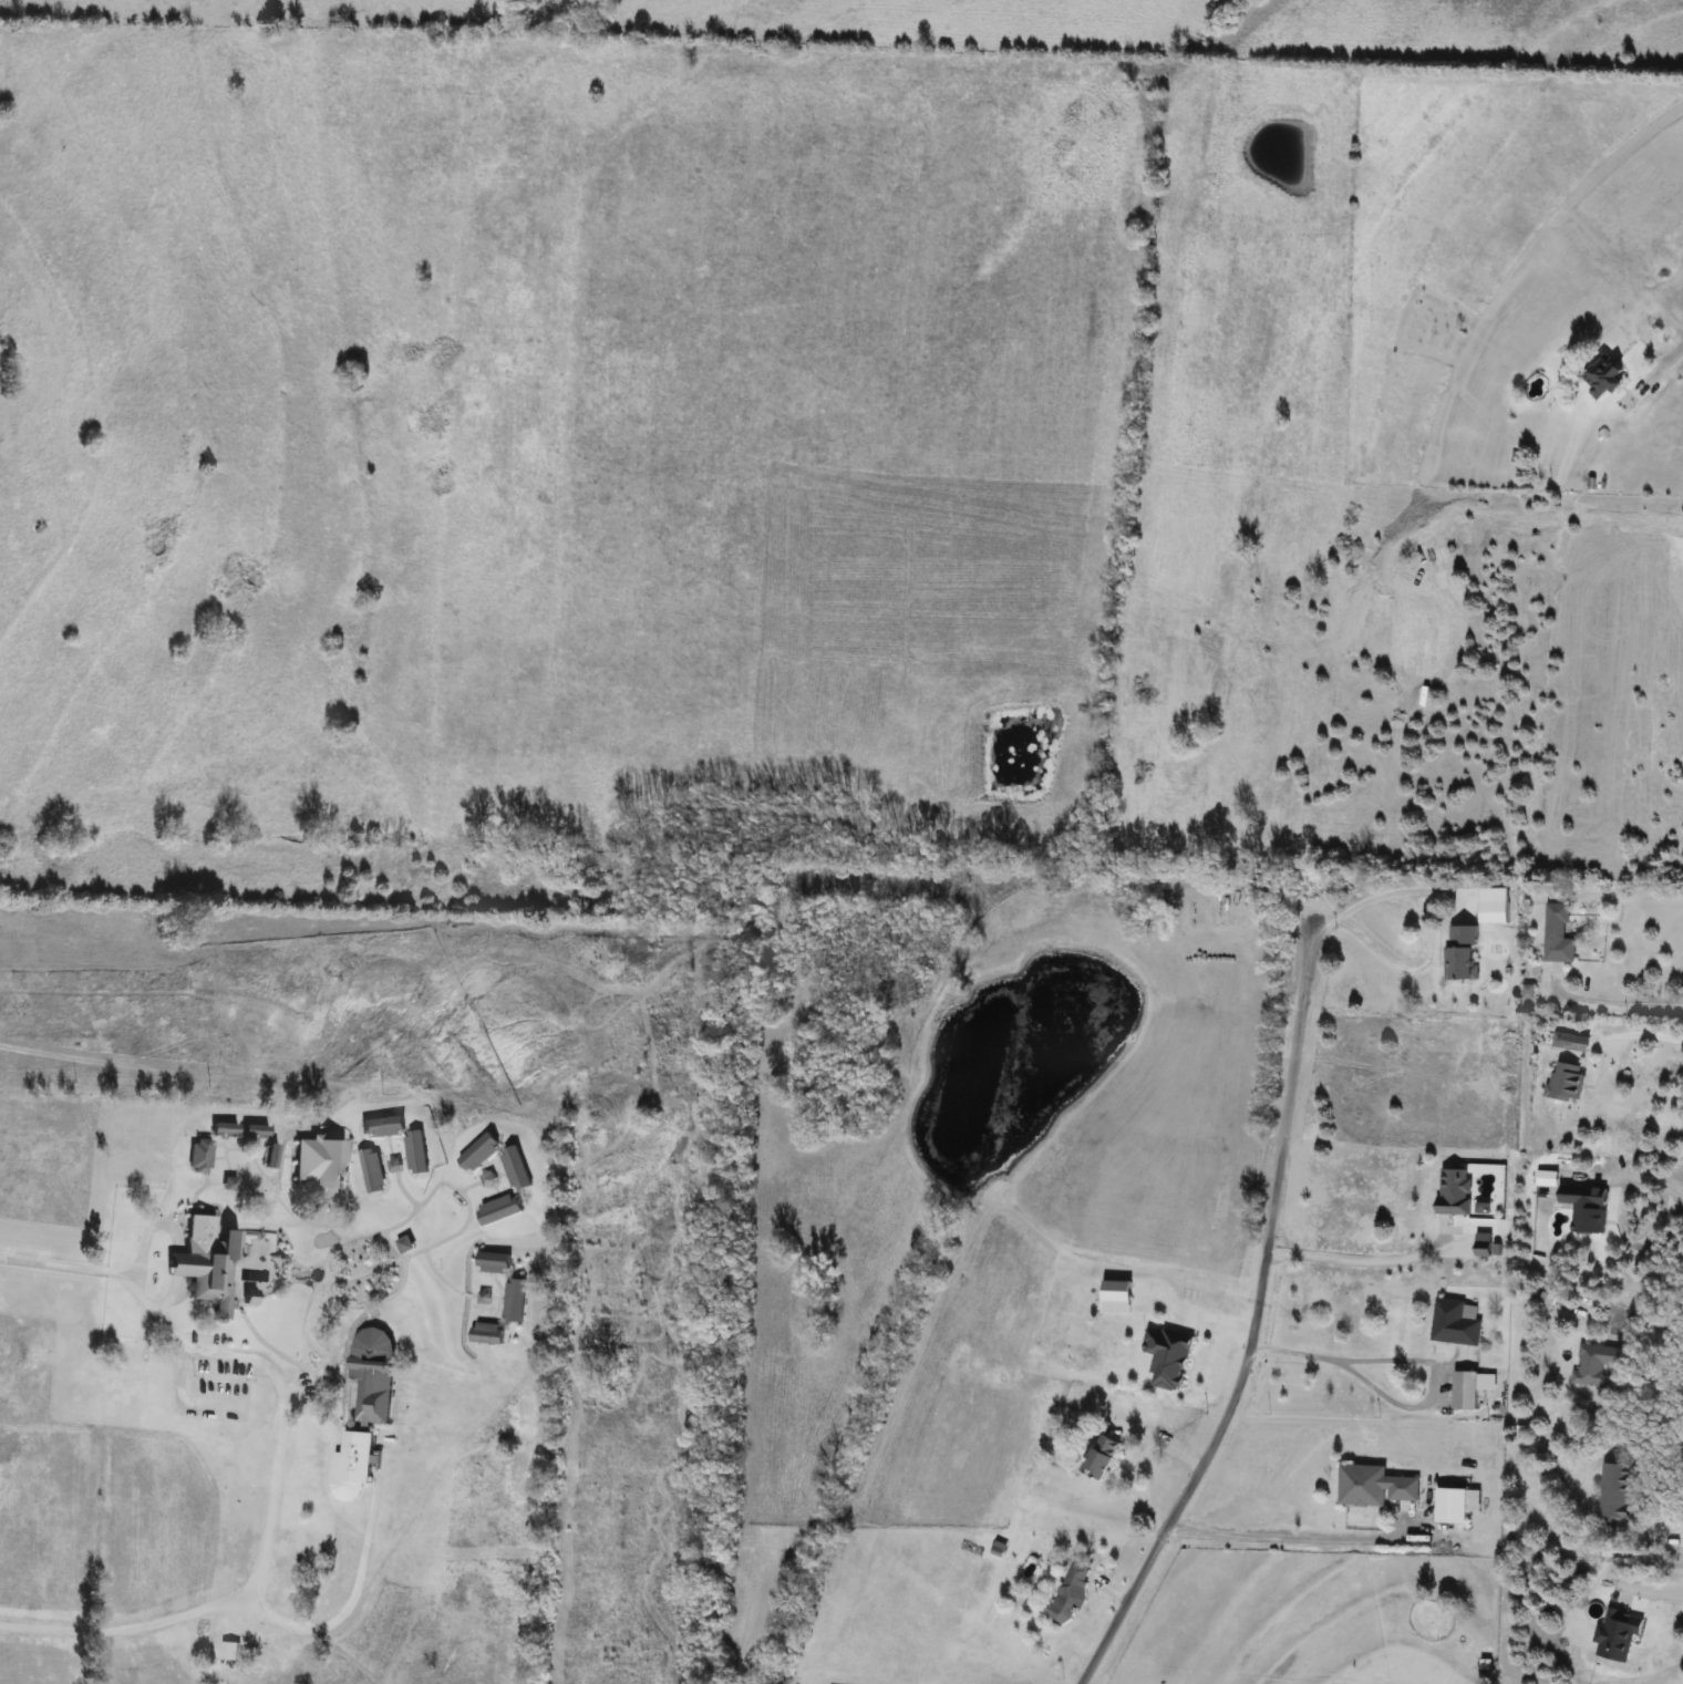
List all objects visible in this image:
road: (1656, 370)
building: (1605, 376)
road: (1373, 897)
building: (1559, 933)
building: (1463, 951)
road: (1605, 998)
road: (1639, 1029)
building: (1571, 1041)
building: (1567, 1081)
building: (225, 1127)
building: (256, 1129)
building: (199, 1155)
building: (270, 1155)
road: (1639, 1179)
building: (1455, 1191)
road: (158, 1199)
building: (1485, 1248)
building: (494, 1261)
road: (1359, 1261)
building: (207, 1269)
building: (516, 1299)
road: (1252, 1322)
building: (1456, 1322)
road: (1644, 1329)
building: (488, 1332)
road: (1415, 1360)
building: (1593, 1363)
building: (373, 1373)
building: (1470, 1388)
building: (1103, 1456)
road: (279, 1458)
building: (353, 1465)
building: (1374, 1485)
building: (1619, 1491)
building: (1457, 1504)
road: (1288, 1537)
road: (1640, 1540)
road: (1649, 1584)
building: (1070, 1593)
road: (345, 1599)
building: (229, 1650)

